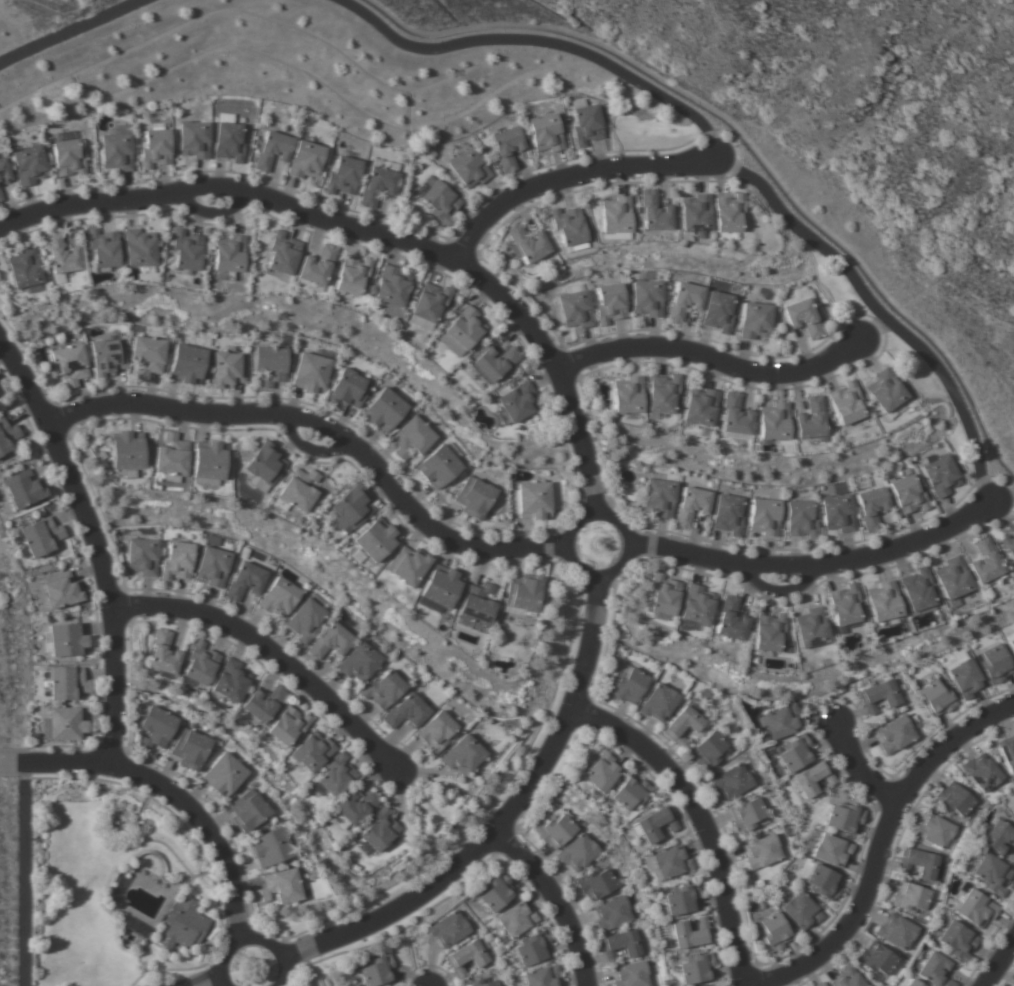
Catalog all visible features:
road: (65, 27)
building: (586, 122)
building: (546, 133)
building: (194, 140)
building: (229, 142)
building: (156, 146)
building: (507, 147)
building: (116, 148)
building: (272, 150)
building: (68, 158)
building: (306, 159)
road: (723, 161)
building: (29, 165)
building: (469, 168)
building: (4, 171)
building: (343, 175)
road: (571, 177)
building: (378, 186)
building: (0, 196)
building: (439, 200)
building: (654, 212)
building: (695, 213)
building: (728, 213)
building: (616, 218)
building: (568, 226)
road: (378, 235)
building: (528, 243)
building: (139, 247)
building: (104, 248)
building: (571, 248)
building: (187, 250)
building: (283, 253)
building: (230, 255)
building: (61, 257)
building: (317, 266)
building: (24, 268)
building: (353, 275)
building: (392, 286)
building: (647, 298)
building: (685, 301)
building: (430, 302)
building: (610, 303)
building: (575, 309)
building: (718, 312)
building: (803, 318)
building: (755, 320)
building: (465, 327)
building: (148, 355)
building: (107, 357)
road: (710, 361)
building: (495, 362)
building: (70, 364)
building: (187, 364)
building: (270, 365)
building: (228, 369)
building: (311, 373)
building: (348, 389)
building: (885, 391)
building: (663, 393)
building: (628, 395)
building: (518, 402)
building: (846, 403)
building: (700, 406)
building: (384, 410)
building: (735, 415)
building: (811, 419)
building: (774, 422)
road: (326, 434)
building: (7, 435)
building: (412, 437)
building: (127, 450)
building: (172, 456)
building: (209, 460)
building: (265, 463)
building: (438, 466)
building: (940, 474)
building: (23, 488)
building: (299, 490)
building: (908, 494)
building: (474, 497)
building: (659, 498)
building: (534, 500)
road: (1005, 502)
building: (691, 505)
building: (352, 506)
building: (871, 507)
building: (837, 512)
building: (727, 514)
building: (764, 516)
building: (800, 519)
building: (39, 536)
building: (375, 539)
building: (1008, 544)
road: (572, 548)
road: (94, 550)
building: (142, 556)
building: (178, 560)
building: (984, 561)
road: (820, 564)
building: (408, 565)
building: (213, 566)
building: (952, 580)
building: (245, 581)
building: (441, 586)
building: (61, 590)
building: (917, 590)
building: (523, 593)
building: (663, 594)
building: (279, 597)
building: (884, 602)
building: (476, 604)
building: (697, 605)
building: (845, 605)
building: (307, 617)
building: (730, 619)
building: (812, 628)
building: (769, 631)
building: (67, 640)
building: (331, 641)
building: (1011, 645)
road: (267, 650)
building: (163, 653)
building: (359, 661)
building: (200, 663)
building: (995, 664)
building: (1013, 667)
building: (965, 678)
building: (231, 681)
building: (66, 682)
building: (628, 686)
building: (383, 689)
building: (879, 695)
building: (936, 697)
building: (658, 702)
building: (263, 703)
building: (406, 712)
building: (781, 721)
water tower: (836, 722)
building: (67, 724)
building: (288, 725)
building: (681, 725)
building: (156, 727)
building: (436, 732)
building: (894, 734)
building: (190, 749)
building: (708, 750)
building: (313, 751)
building: (1007, 752)
building: (795, 753)
building: (462, 755)
road: (6, 763)
road: (854, 769)
building: (601, 772)
building: (981, 772)
building: (224, 775)
building: (337, 775)
building: (813, 778)
building: (731, 782)
building: (630, 793)
road: (163, 799)
building: (953, 799)
building: (356, 805)
building: (248, 810)
building: (747, 815)
road: (701, 818)
building: (844, 818)
road: (503, 821)
building: (656, 823)
building: (379, 830)
building: (555, 830)
building: (933, 830)
building: (999, 836)
building: (271, 847)
road: (877, 847)
building: (831, 850)
building: (761, 851)
building: (577, 852)
building: (668, 862)
building: (918, 863)
road: (24, 874)
building: (992, 874)
building: (823, 882)
building: (596, 883)
building: (283, 886)
building: (496, 892)
building: (910, 897)
building: (682, 899)
road: (553, 902)
building: (975, 908)
building: (800, 911)
building: (612, 913)
building: (516, 919)
building: (183, 924)
building: (448, 929)
building: (896, 931)
building: (773, 932)
building: (691, 933)
road: (245, 937)
building: (957, 940)
building: (620, 944)
building: (533, 948)
building: (466, 957)
building: (876, 959)
road: (998, 960)
building: (697, 968)
building: (377, 970)
building: (935, 970)
building: (630, 974)
building: (542, 976)
road: (193, 978)
building: (847, 978)
building: (481, 983)
building: (906, 983)
building: (913, 983)
building: (819, 984)

